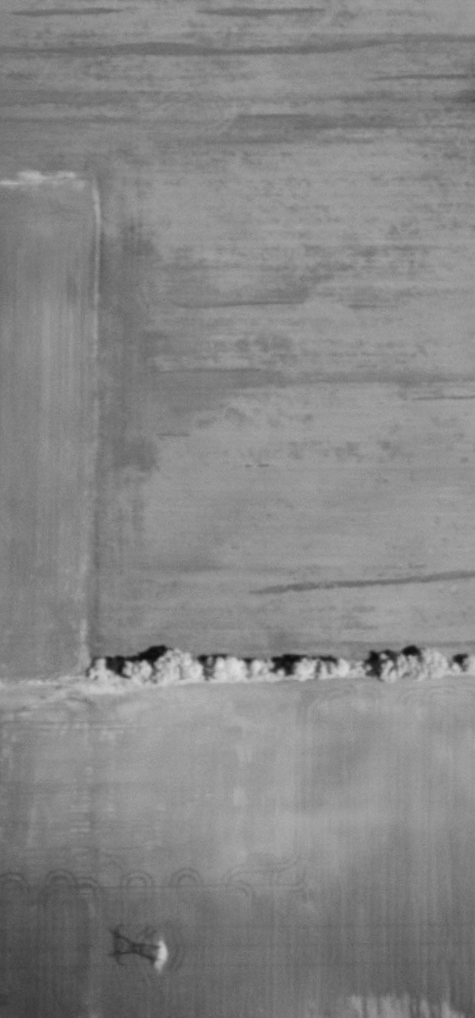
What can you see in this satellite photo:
power tower: (156, 955)

